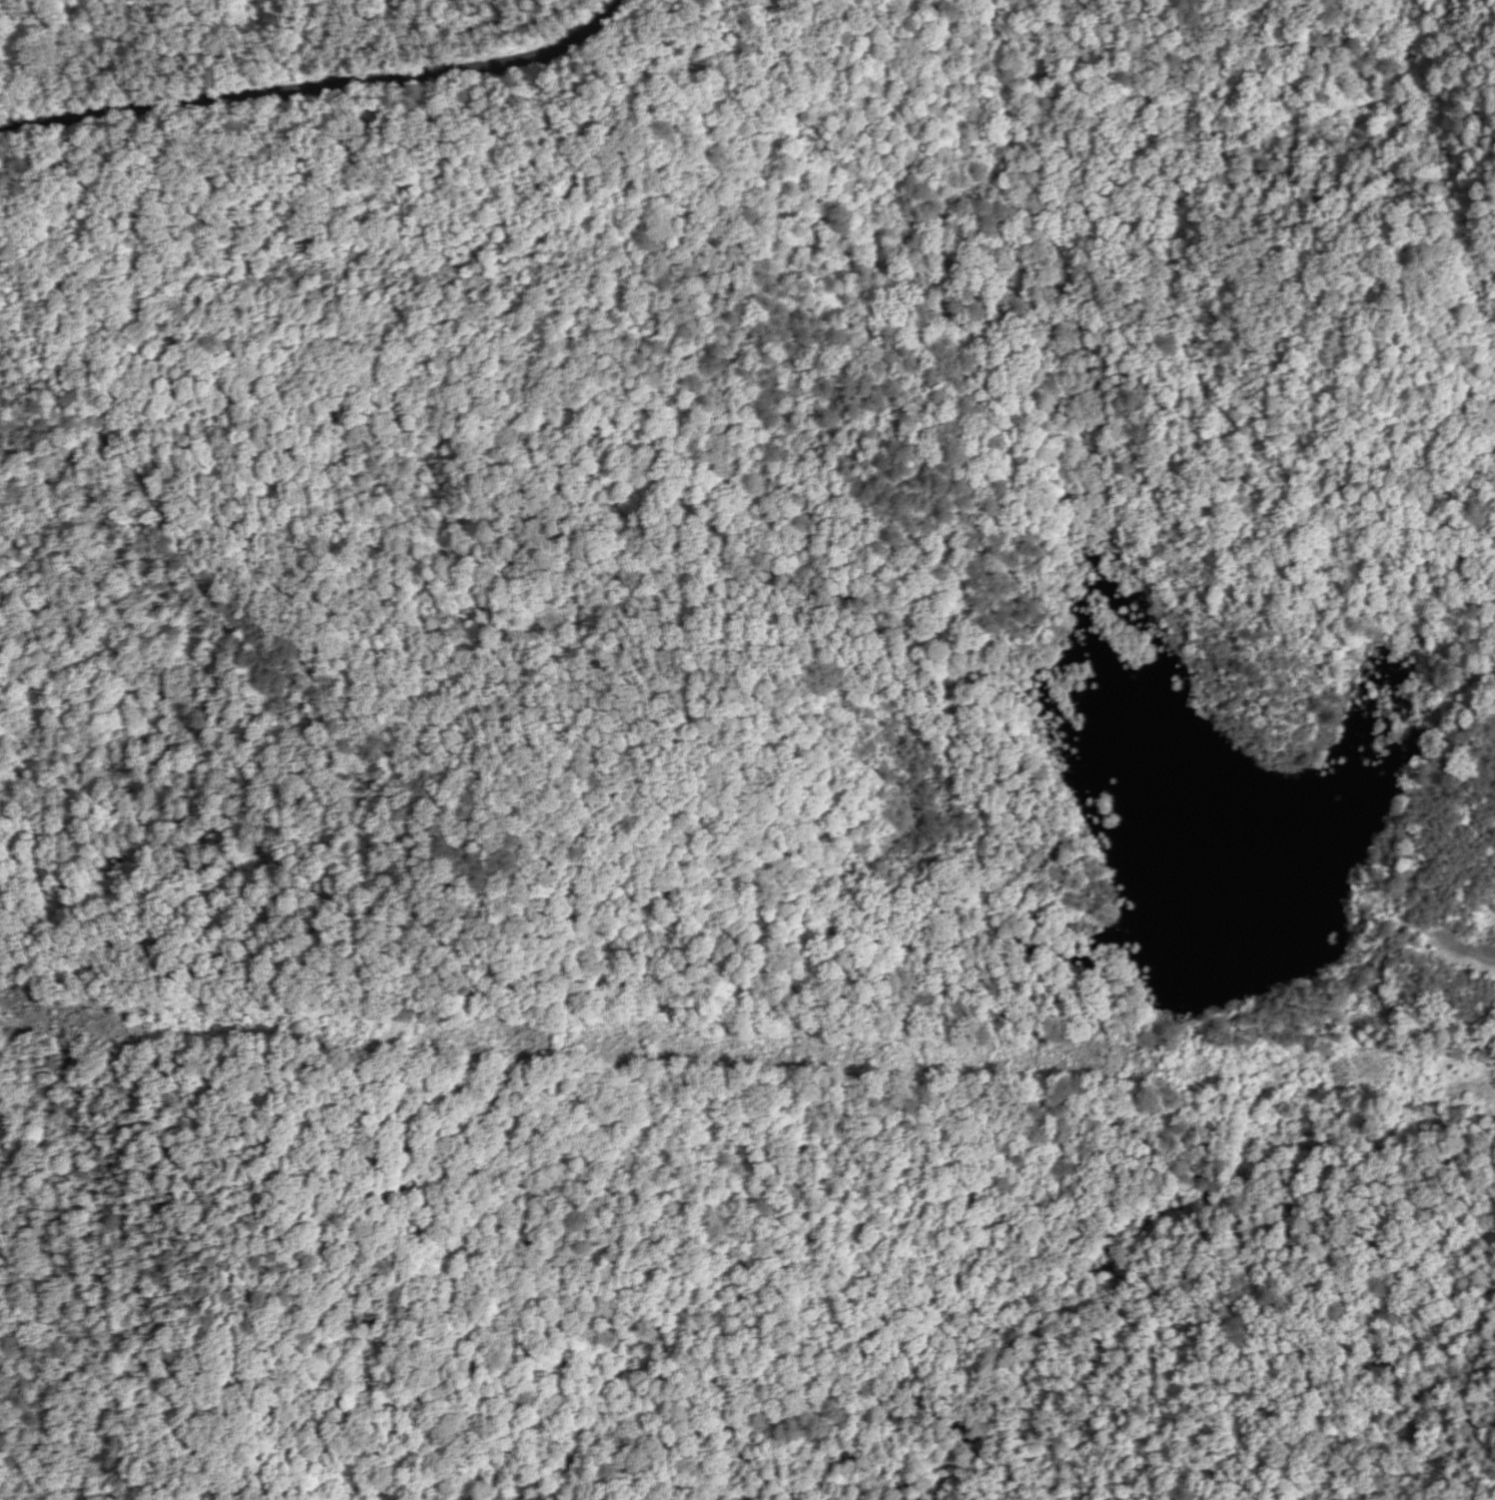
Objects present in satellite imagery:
road: (319, 85)
road: (908, 824)

